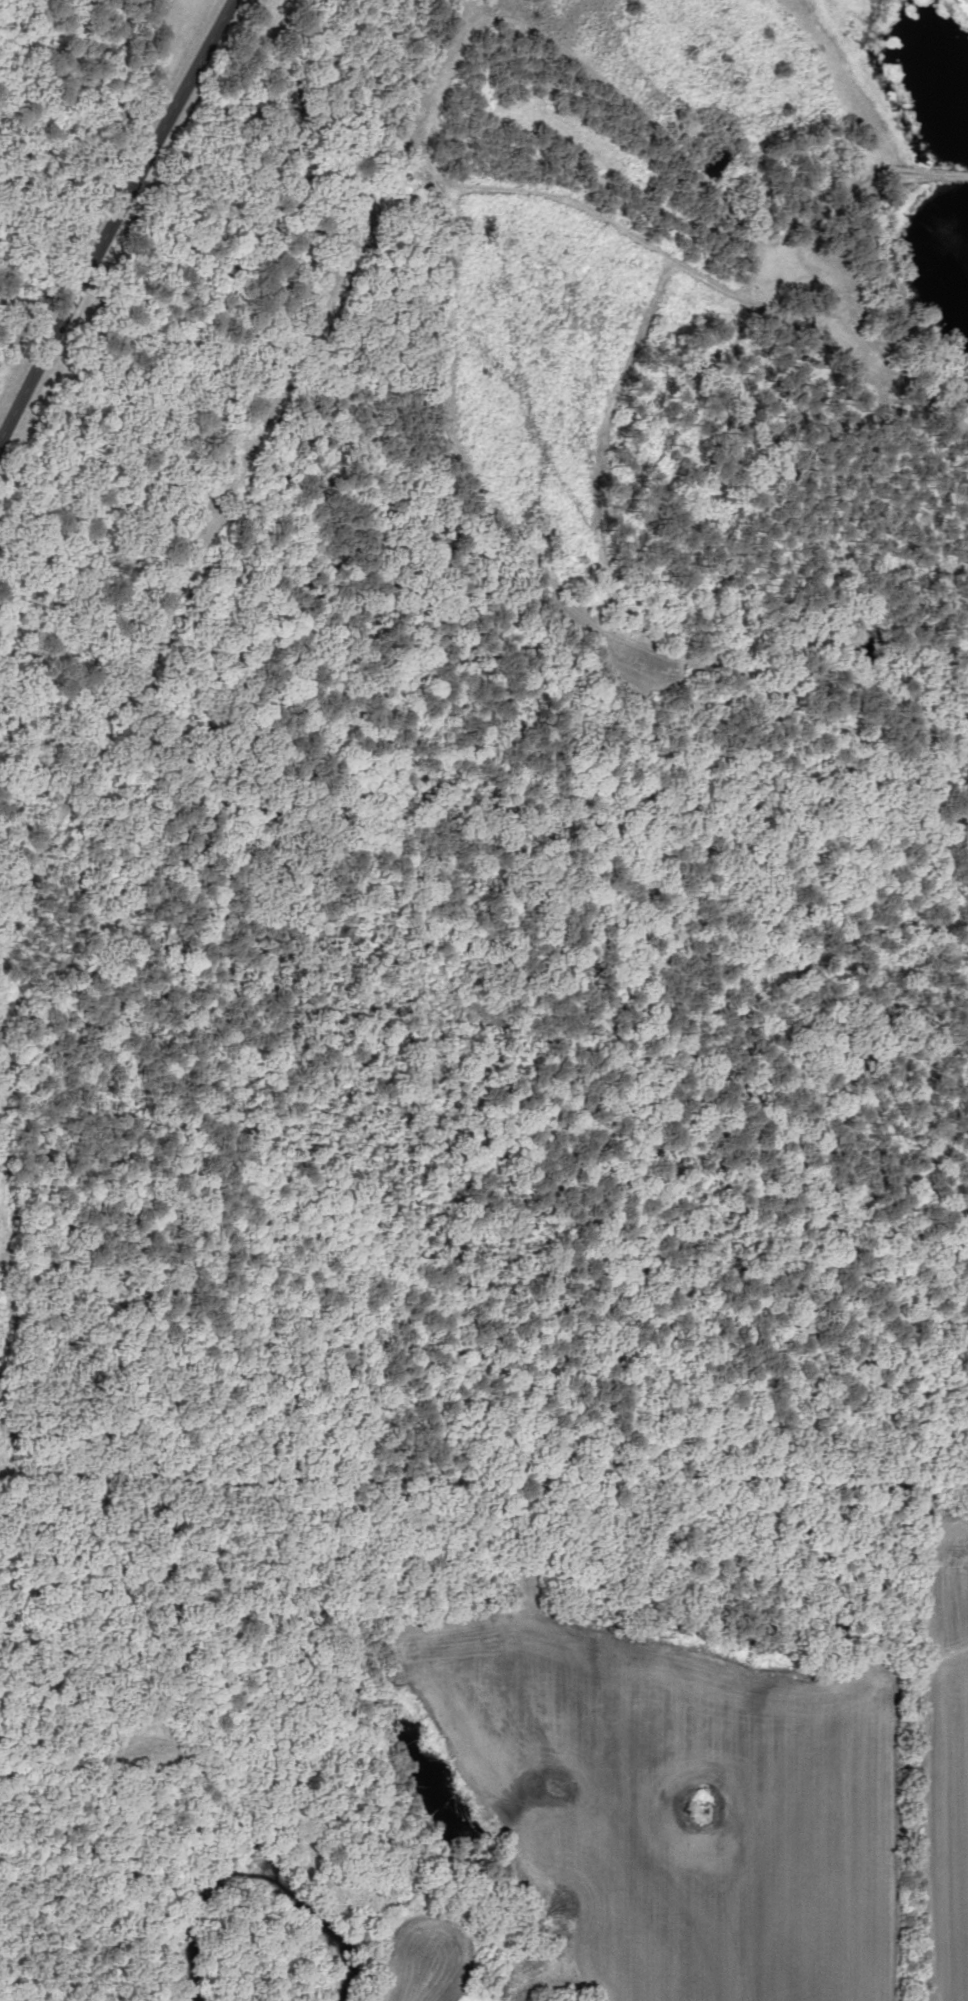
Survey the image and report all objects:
road: (103, 214)

